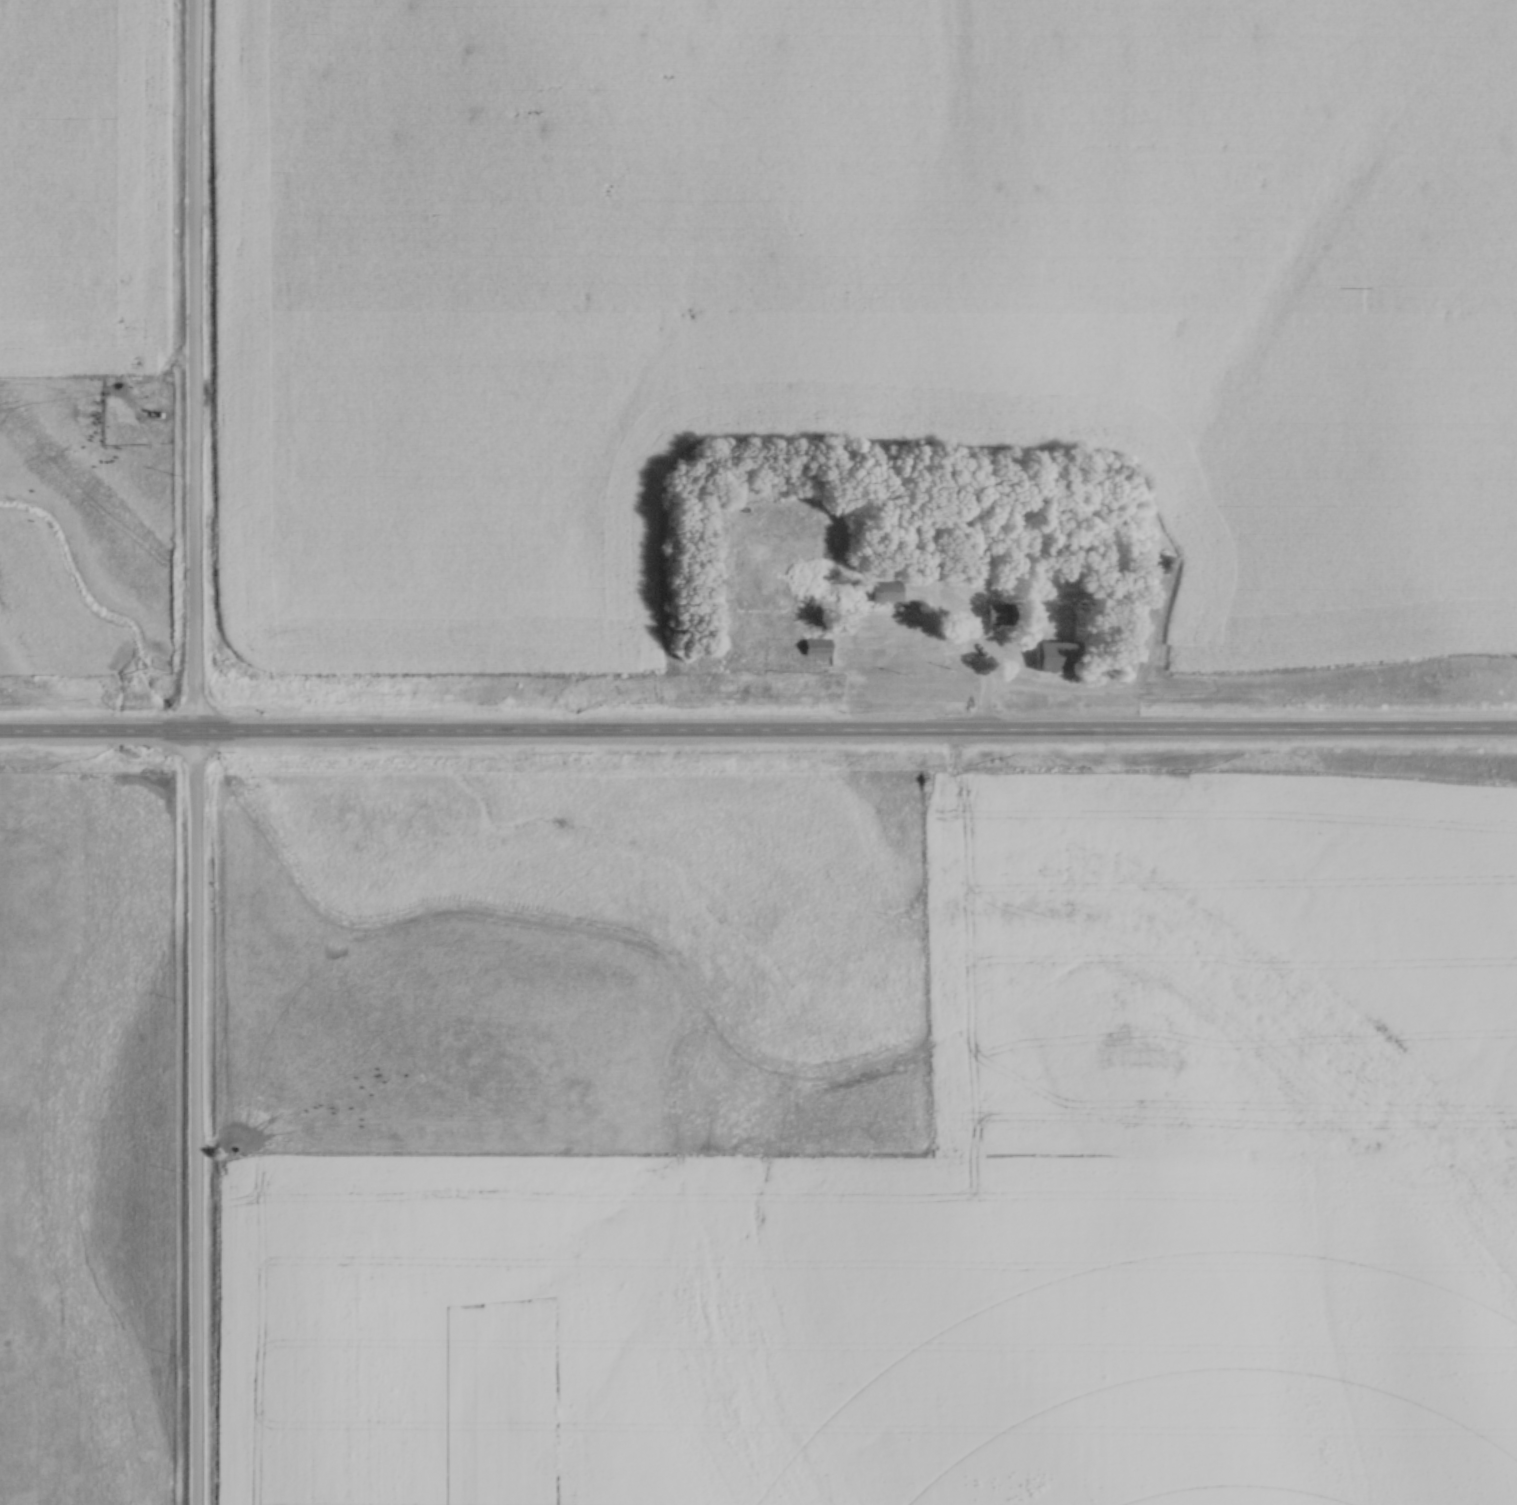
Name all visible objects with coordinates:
building: (1163, 565)
building: (888, 592)
building: (995, 616)
building: (817, 648)
building: (1055, 657)
road: (986, 673)
road: (98, 733)
road: (856, 737)
road: (196, 752)

